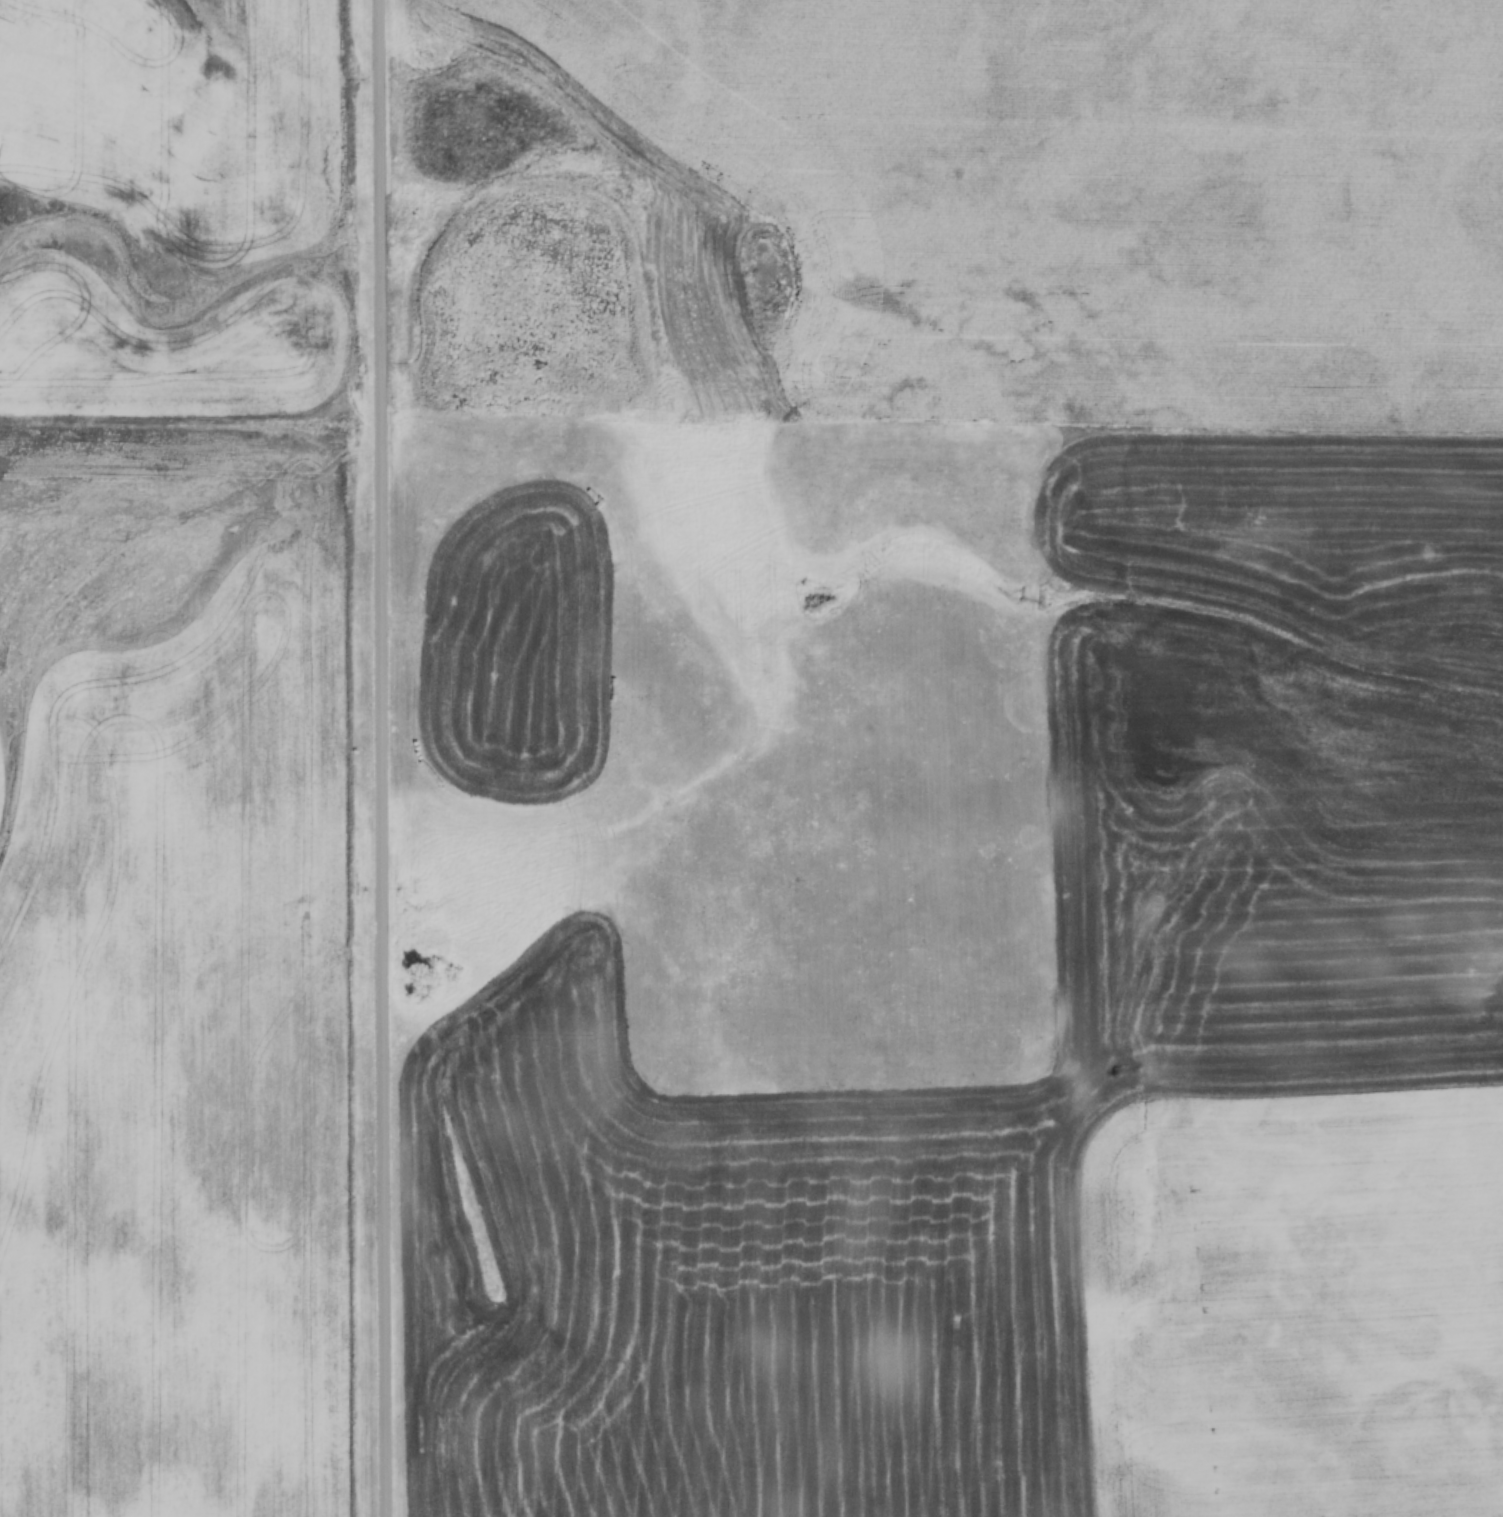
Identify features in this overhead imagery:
road: (383, 758)
building: (61, 998)

